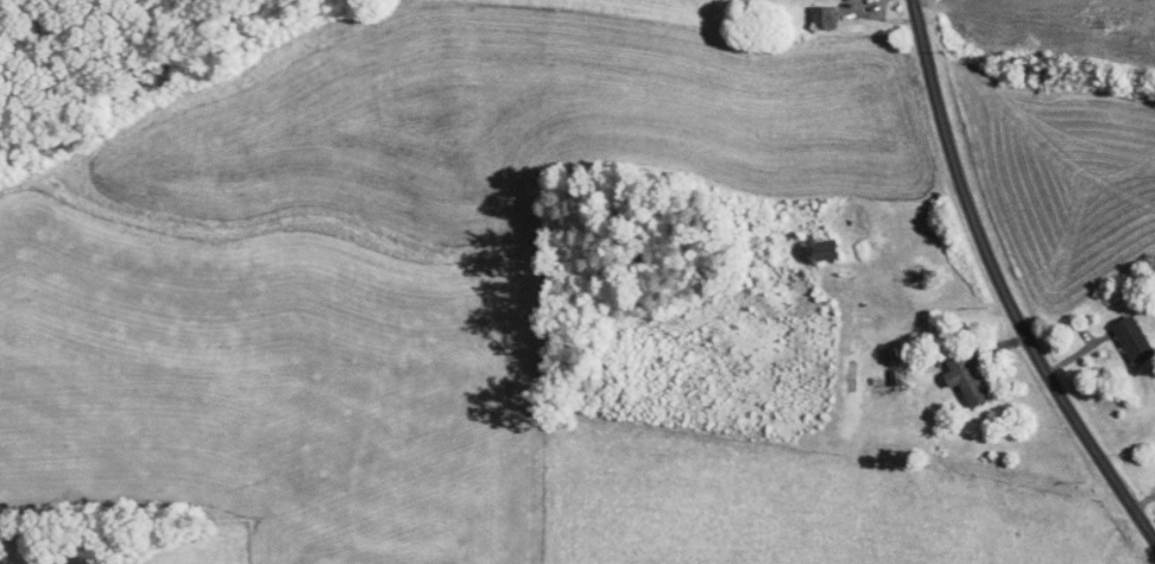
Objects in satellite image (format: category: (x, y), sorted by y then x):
building: (825, 15)
building: (829, 248)
road: (995, 290)
building: (1134, 338)
building: (894, 354)
building: (966, 378)

